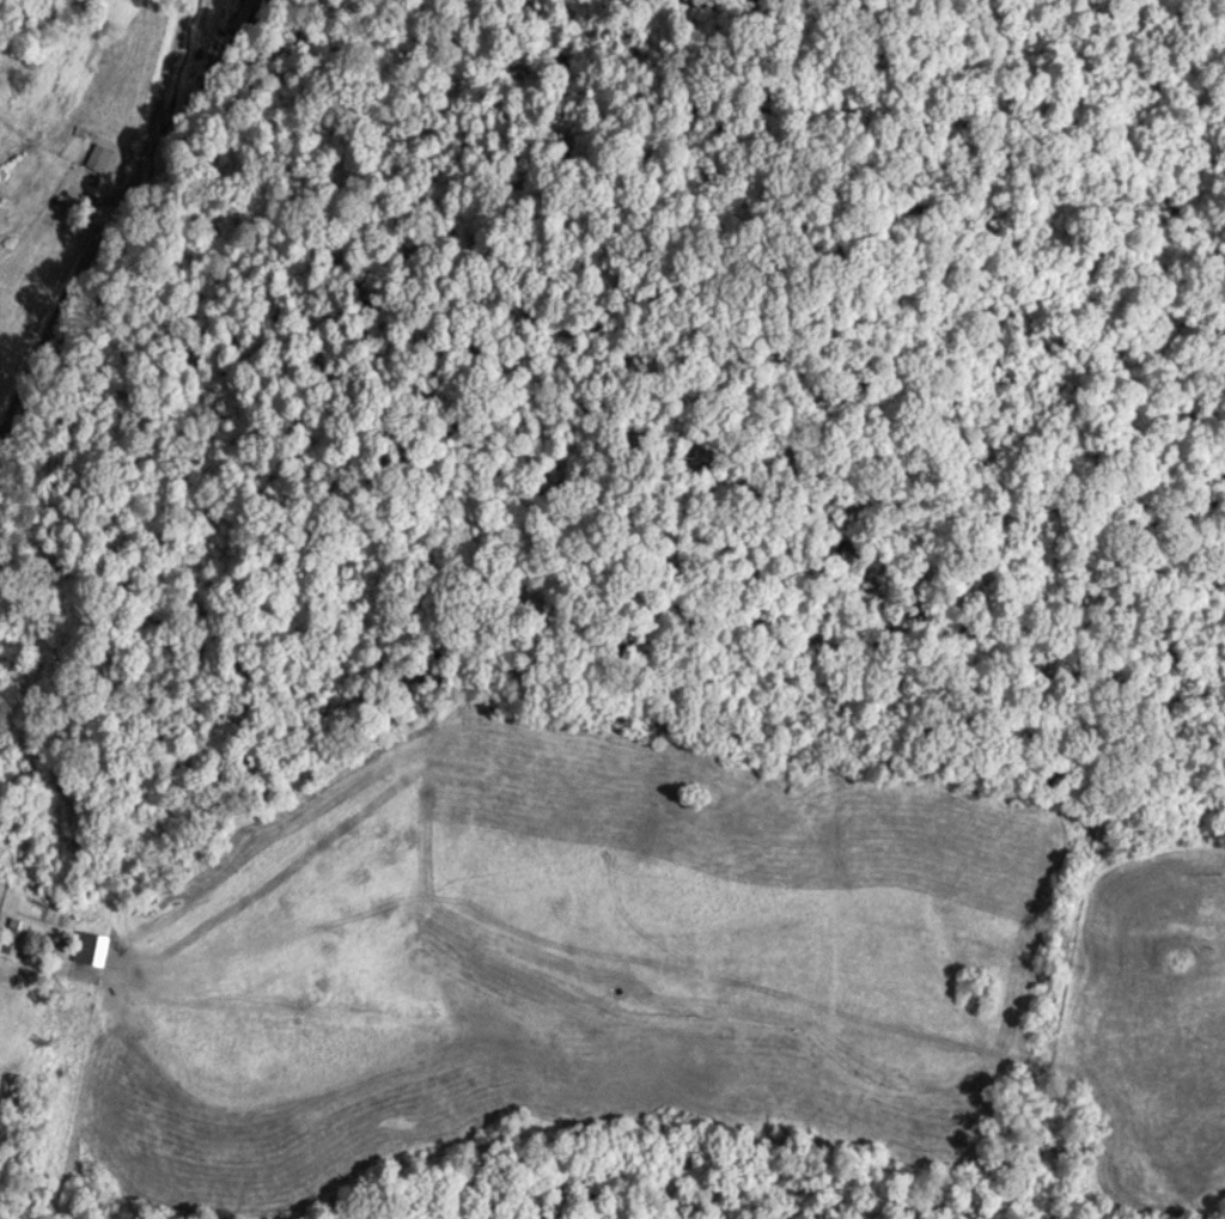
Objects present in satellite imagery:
building: (238, 13)
building: (100, 152)
building: (4, 212)
road: (105, 214)

